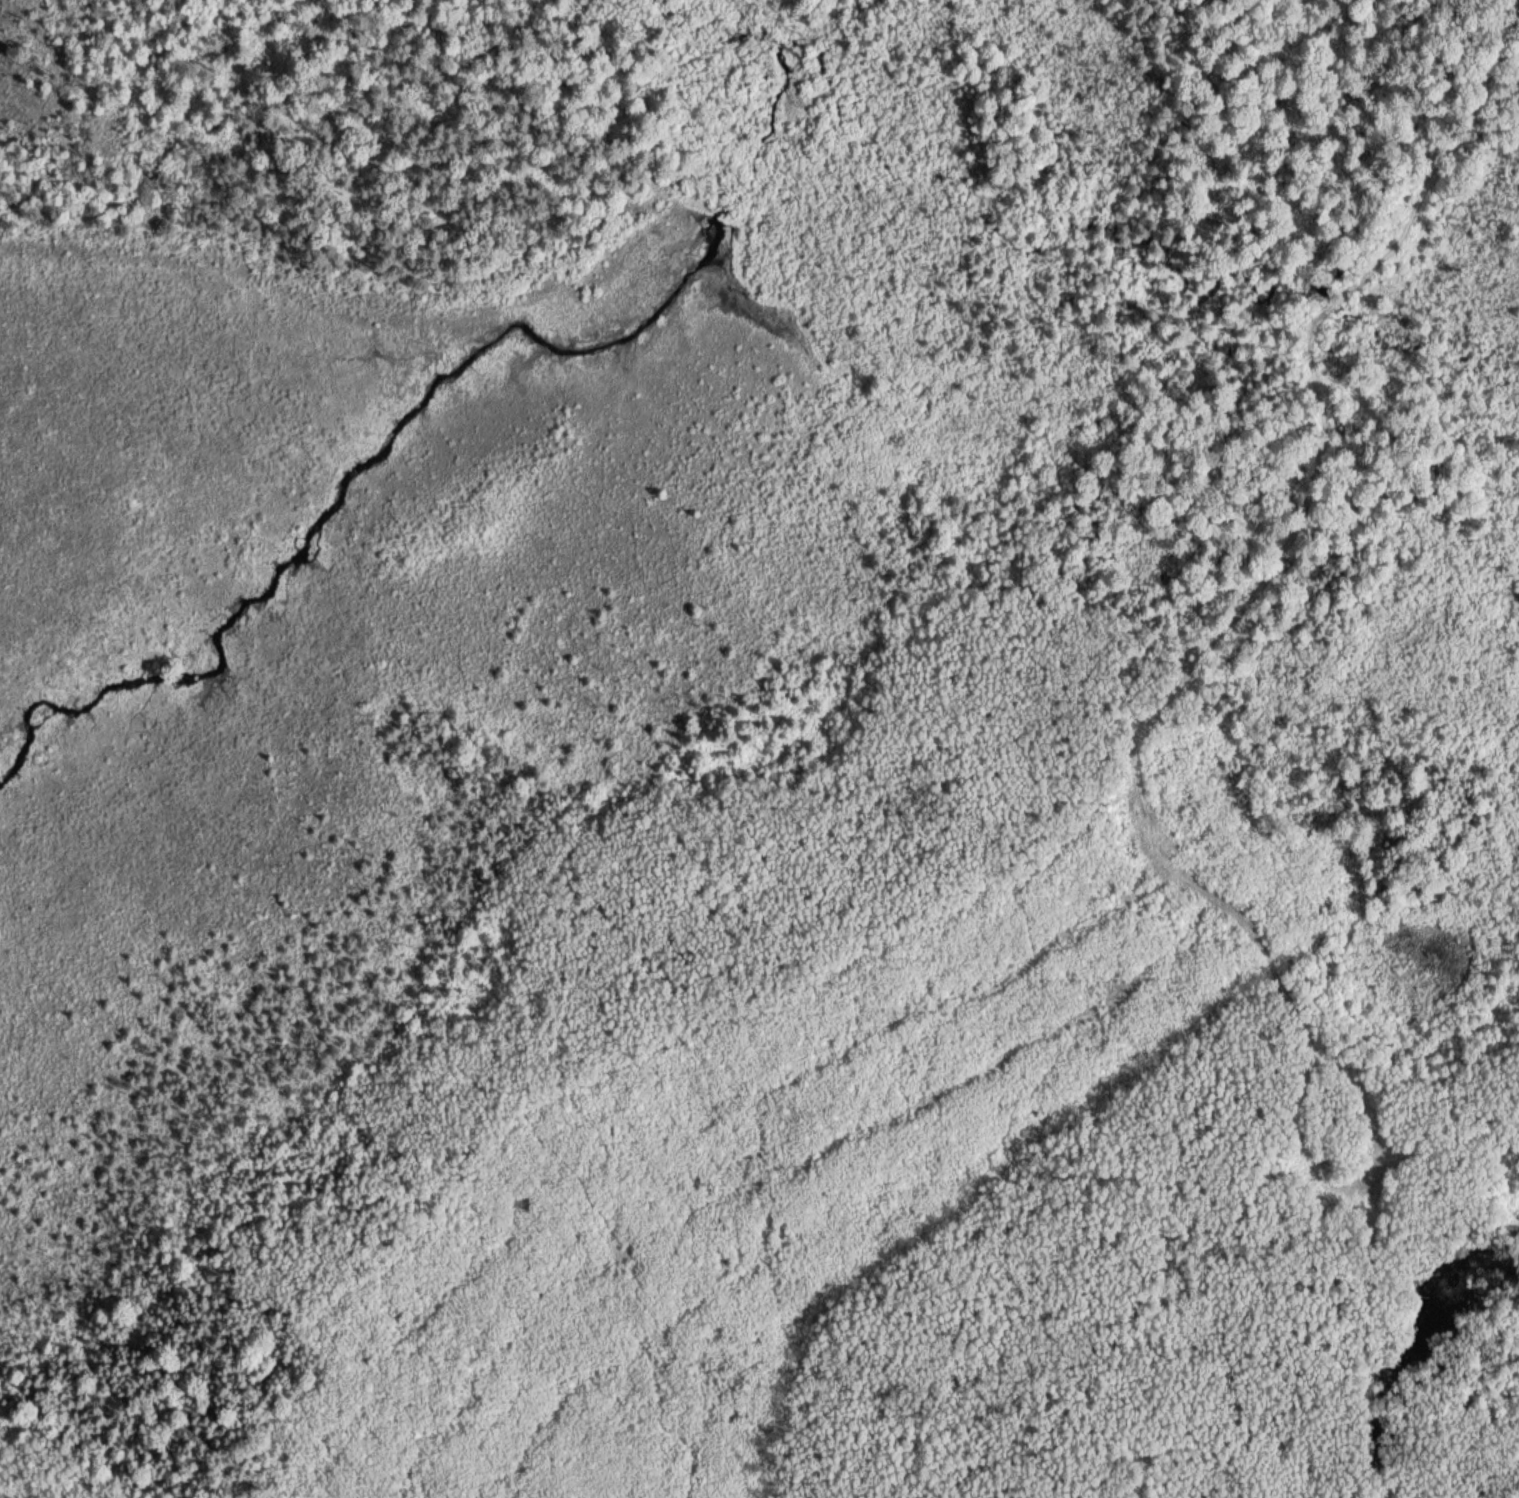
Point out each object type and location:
road: (1287, 536)
road: (1354, 1180)

